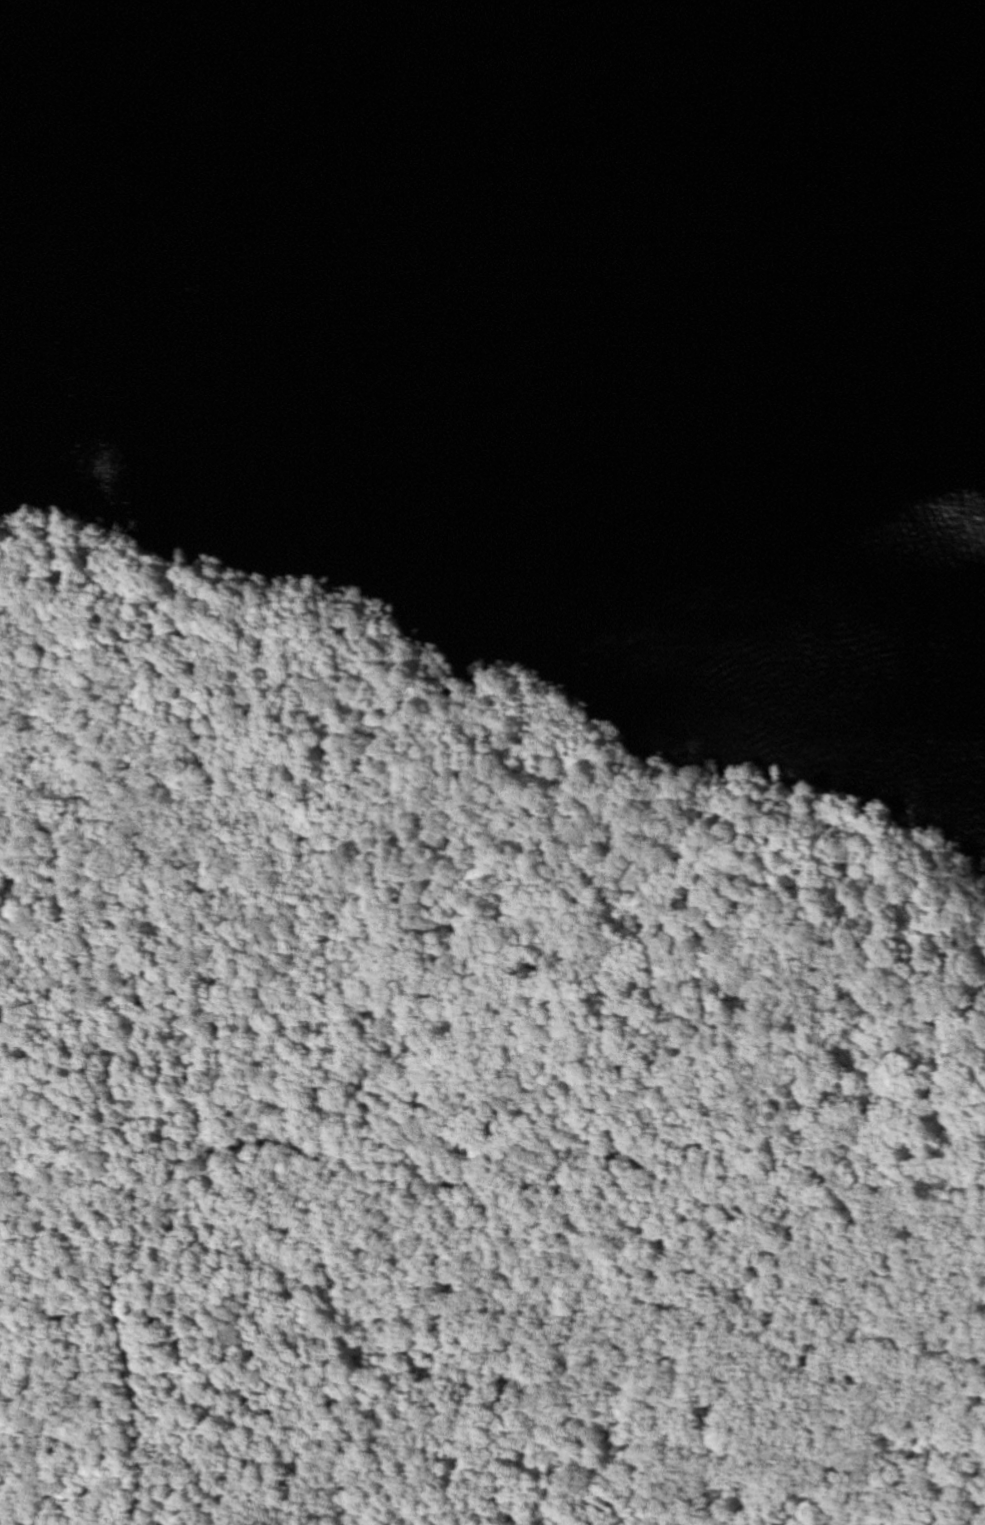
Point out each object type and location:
road: (383, 1171)

